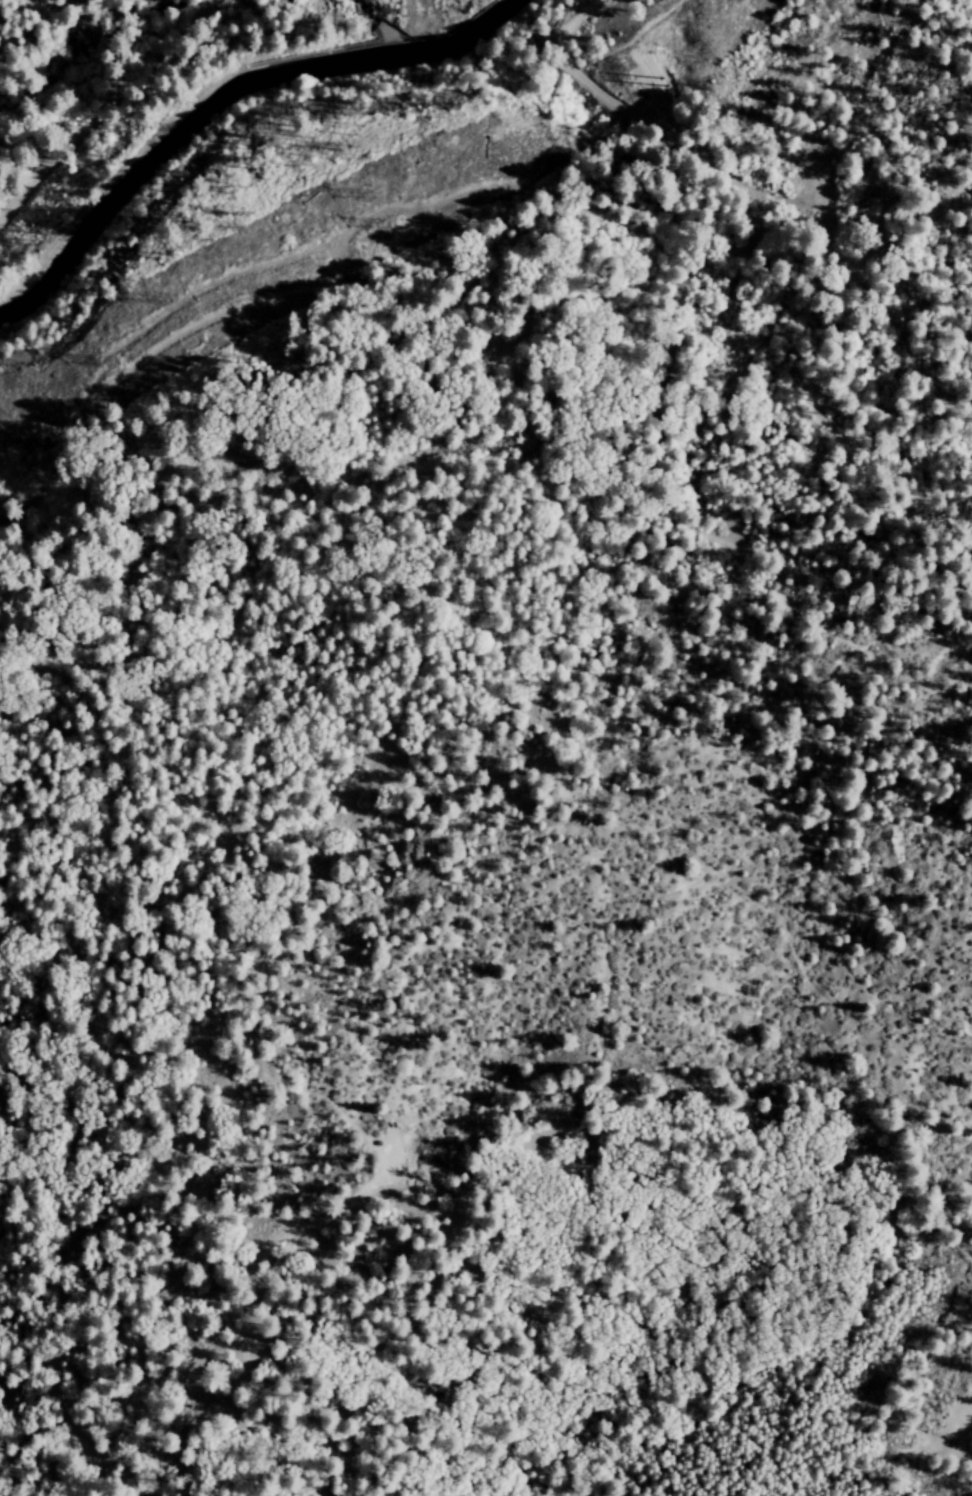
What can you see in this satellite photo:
road: (32, 21)
power tower: (622, 65)
power tower: (646, 94)
road: (101, 107)
power tower: (366, 191)
power tower: (382, 223)
road: (513, 236)
power tower: (163, 295)
power tower: (112, 363)
road: (107, 799)

